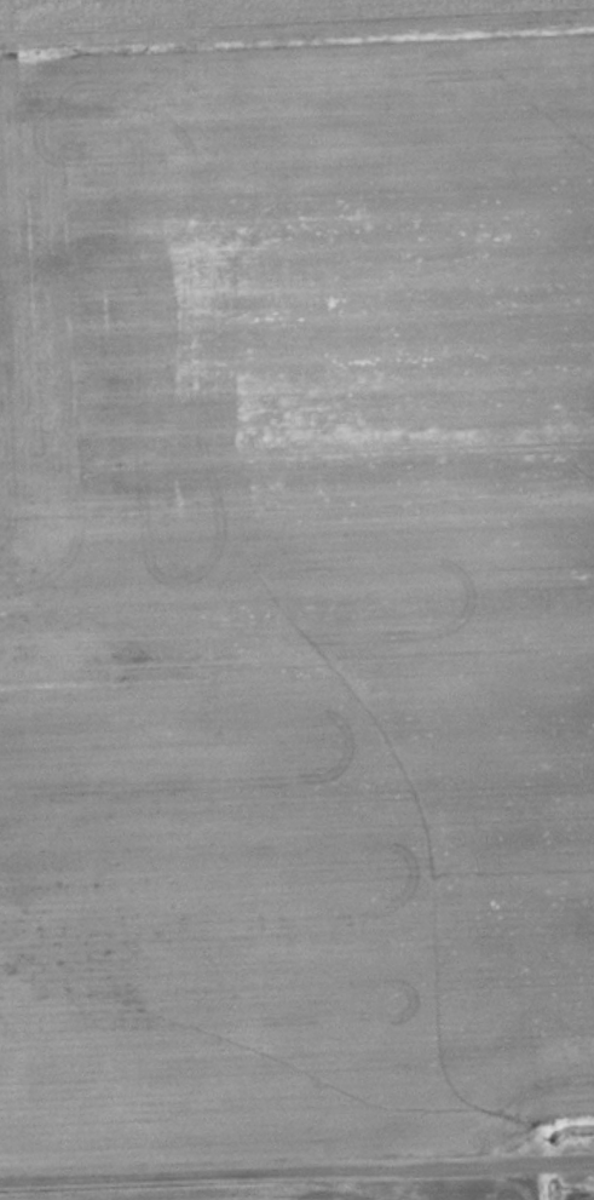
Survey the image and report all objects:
road: (296, 1175)

